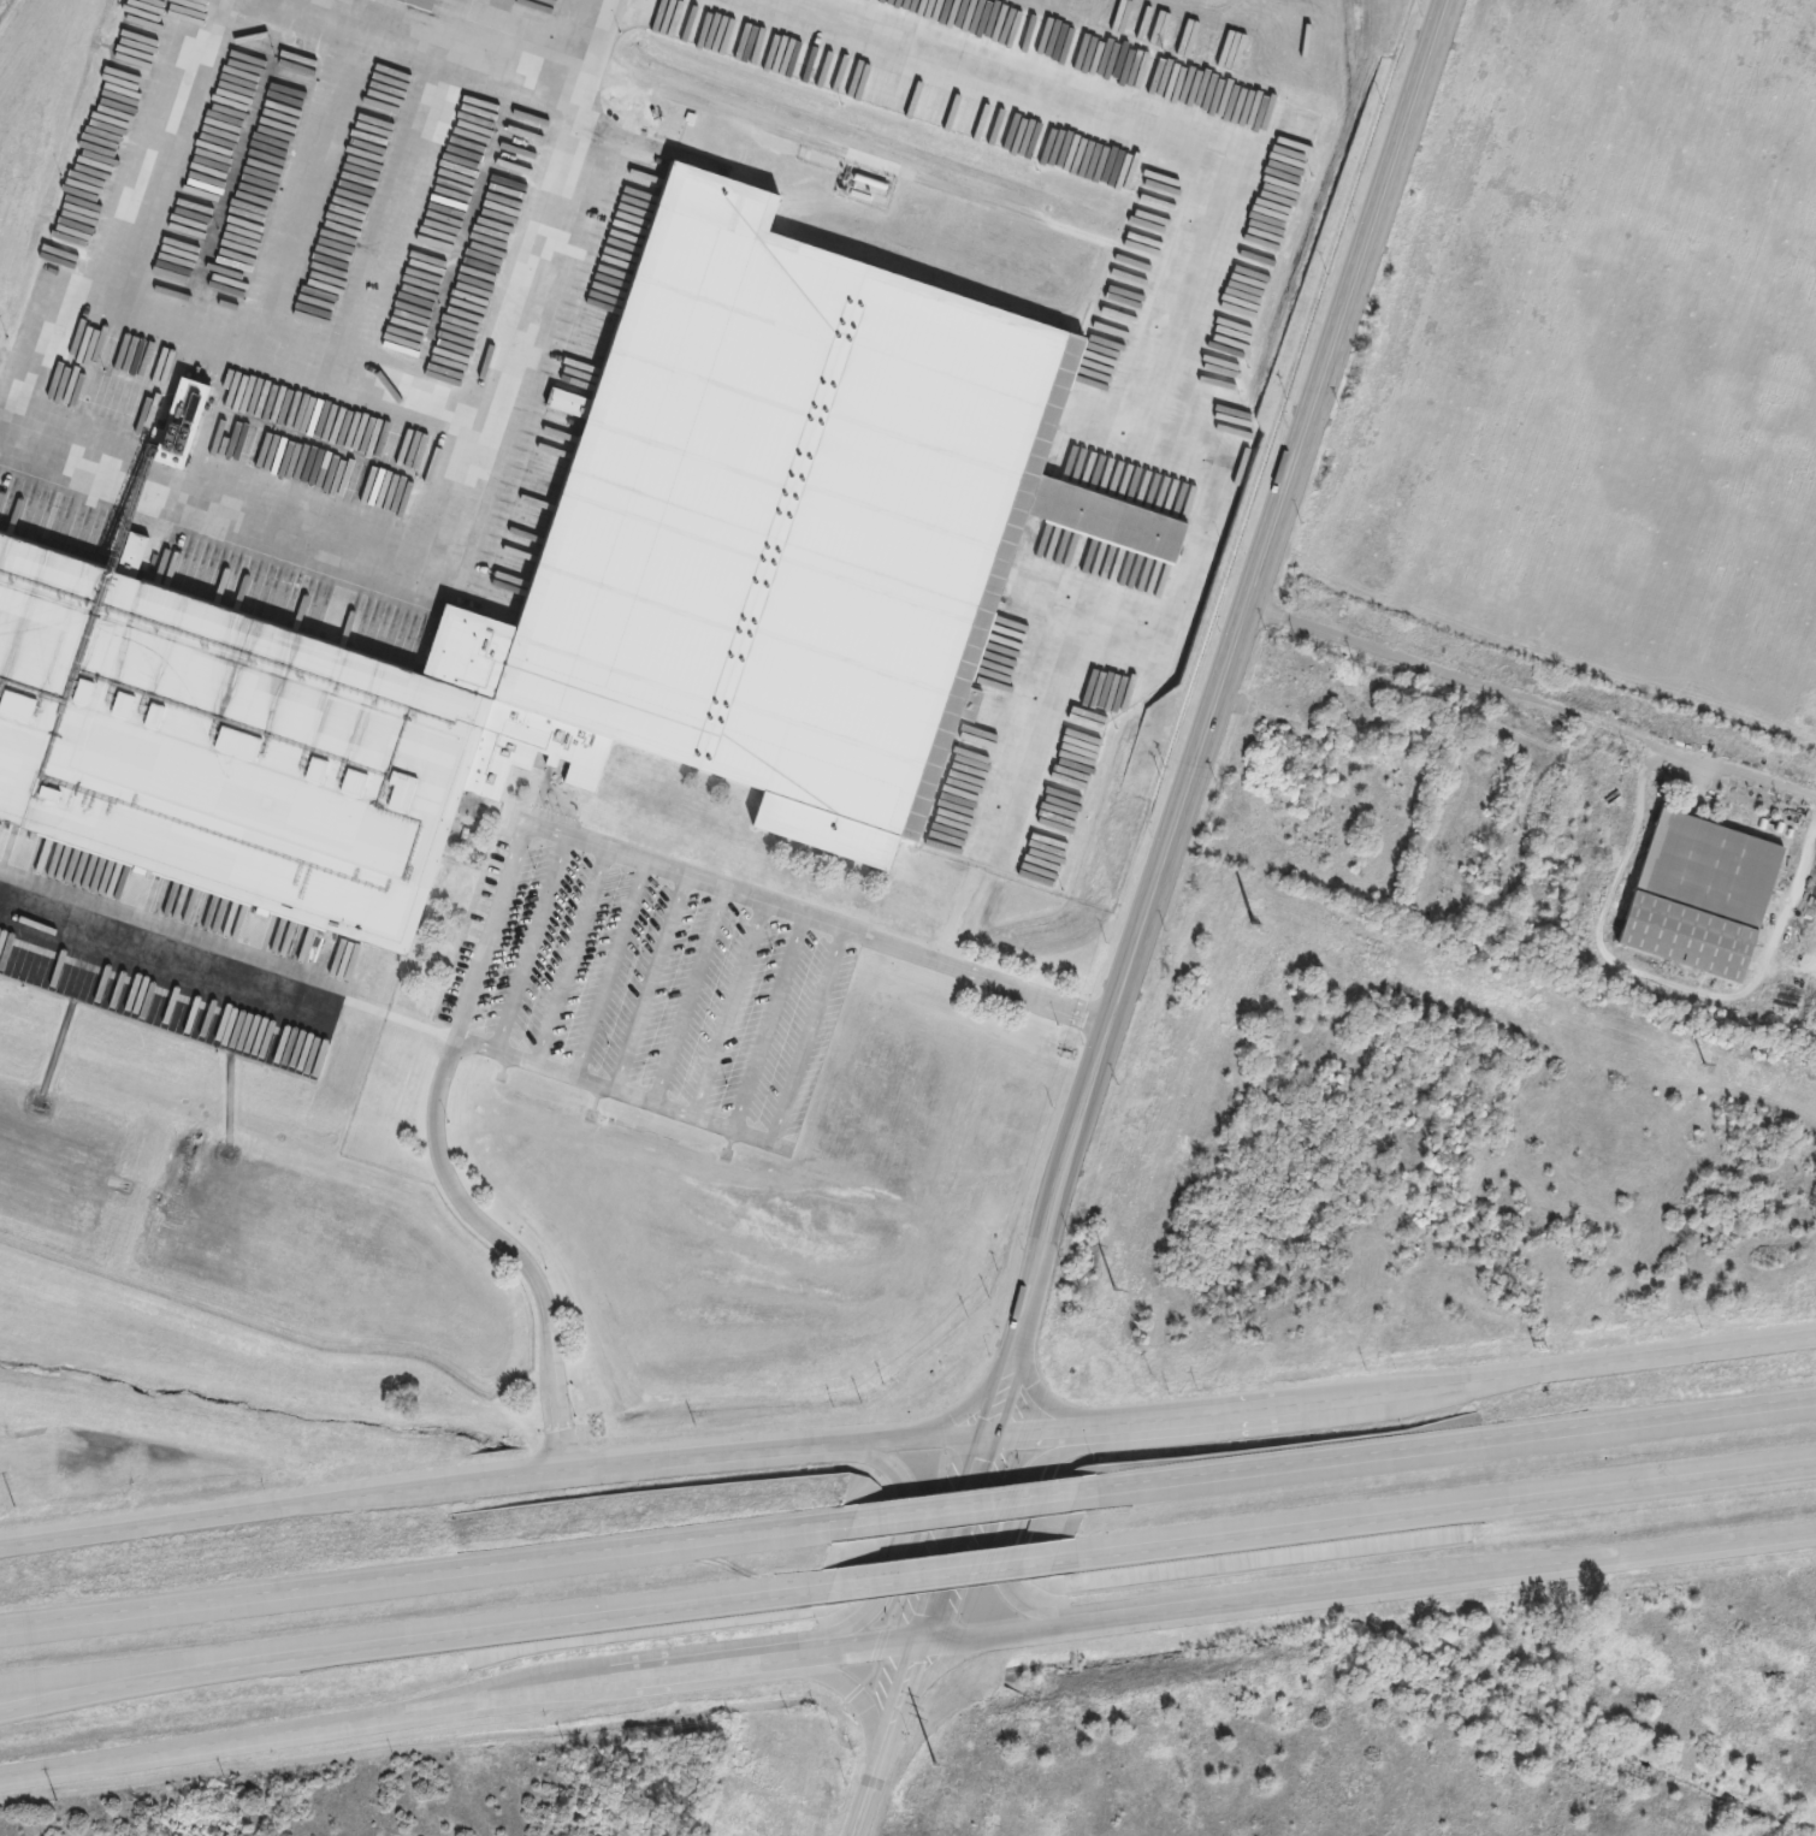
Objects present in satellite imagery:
building: (414, 4)
road: (479, 26)
road: (445, 46)
road: (599, 46)
road: (1177, 318)
road: (304, 354)
building: (1112, 521)
building: (587, 606)
road: (1532, 698)
building: (782, 817)
road: (576, 841)
building: (1697, 895)
road: (1147, 917)
power tower: (1258, 925)
road: (531, 946)
road: (568, 958)
road: (610, 971)
road: (977, 977)
road: (647, 984)
road: (687, 996)
road: (728, 1009)
road: (767, 1023)
road: (805, 1035)
power tower: (1708, 1062)
road: (439, 1111)
power tower: (1111, 1307)
road: (1397, 1393)
road: (1793, 1406)
road: (1420, 1451)
road: (487, 1480)
road: (954, 1504)
road: (1019, 1509)
road: (1430, 1514)
road: (905, 1539)
road: (419, 1571)
road: (931, 1576)
road: (497, 1629)
road: (905, 1641)
road: (87, 1690)
power tower: (942, 1748)

